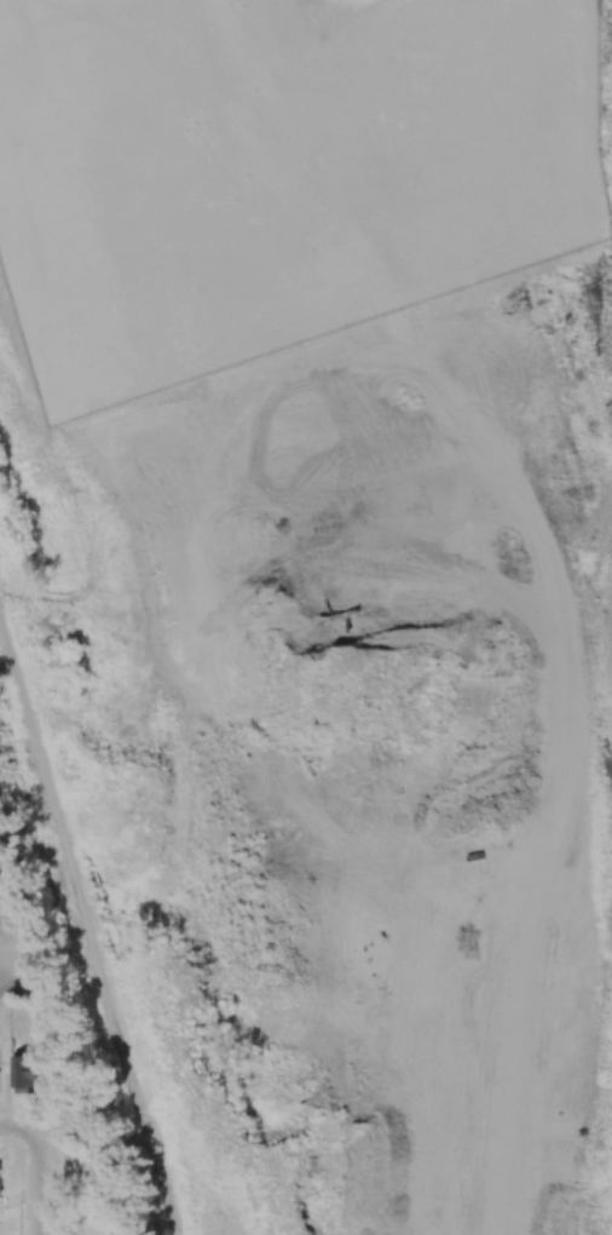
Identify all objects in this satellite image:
building: (25, 1072)
road: (17, 1128)
road: (36, 1185)
building: (0, 1190)

